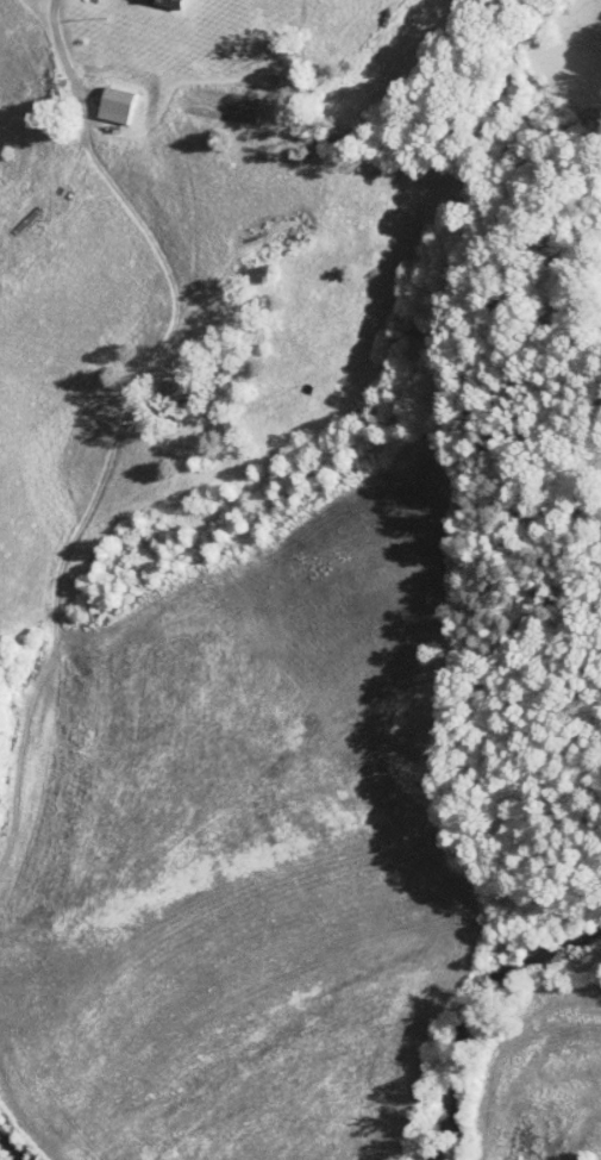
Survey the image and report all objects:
building: (158, 1)
building: (99, 96)
building: (154, 382)
road: (120, 429)
road: (49, 998)

